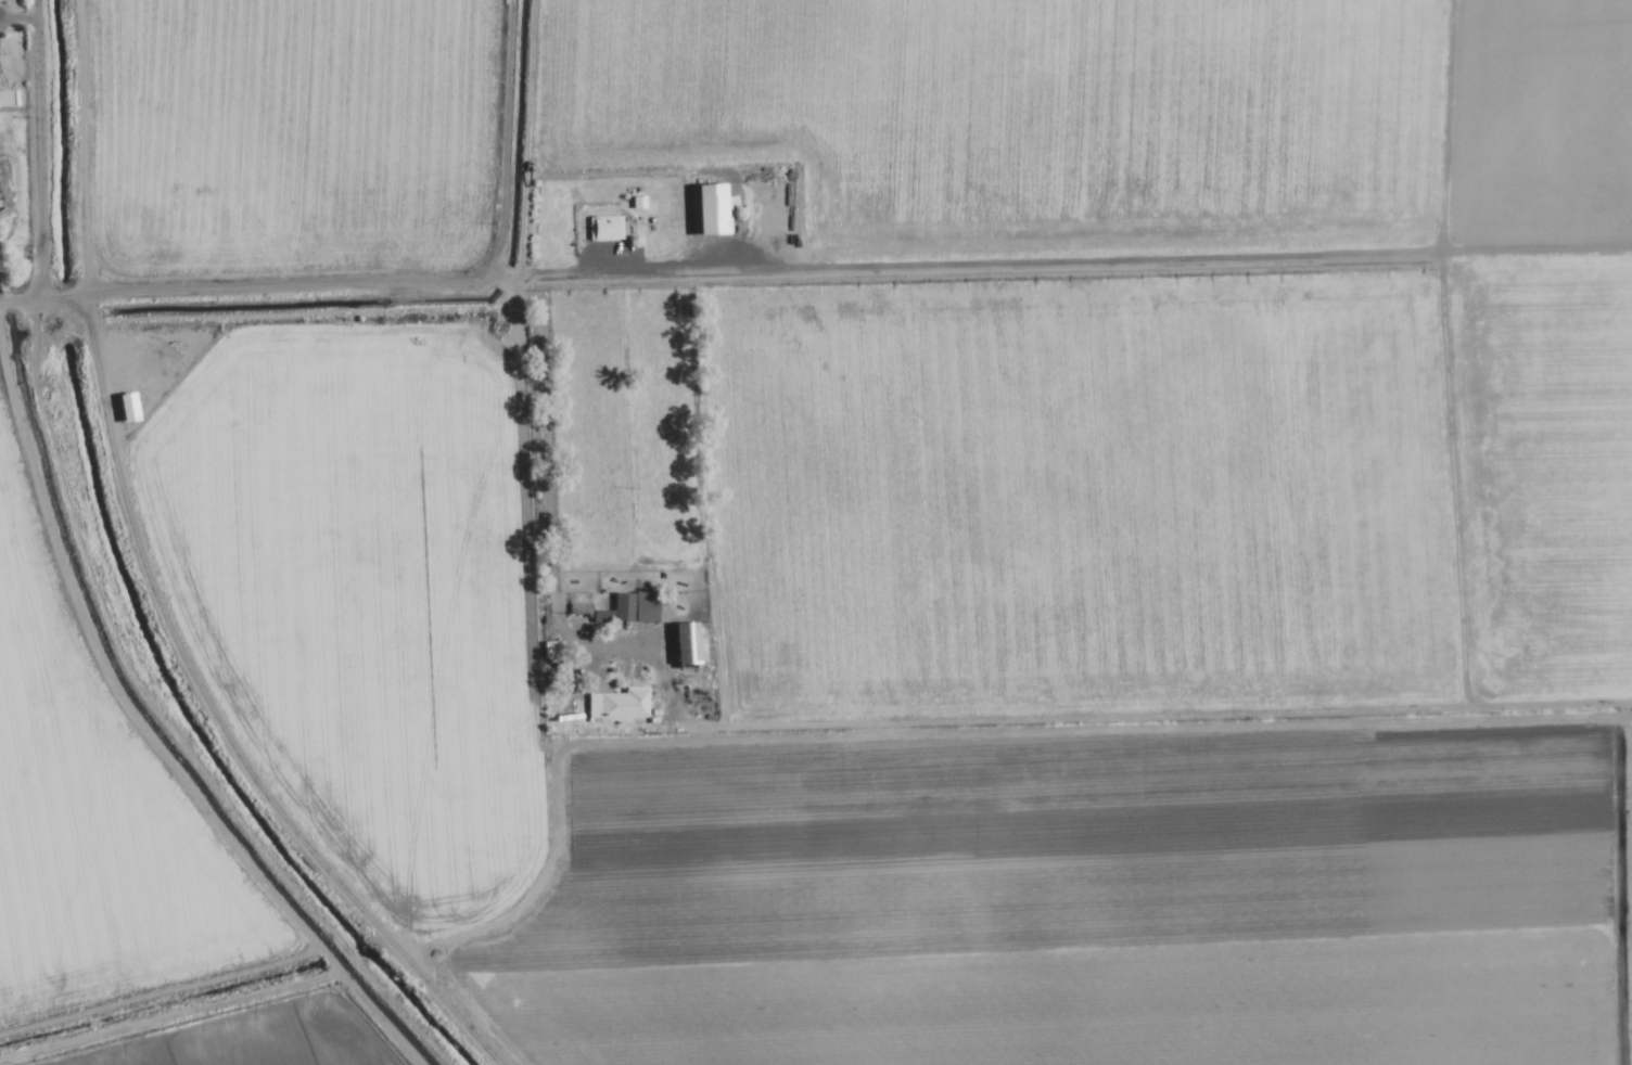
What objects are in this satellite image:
building: (2, 100)
road: (487, 142)
road: (29, 150)
building: (709, 213)
building: (602, 230)
road: (273, 290)
road: (9, 298)
road: (43, 299)
building: (169, 356)
building: (124, 408)
building: (622, 610)
building: (681, 643)
building: (615, 705)
road: (217, 721)

